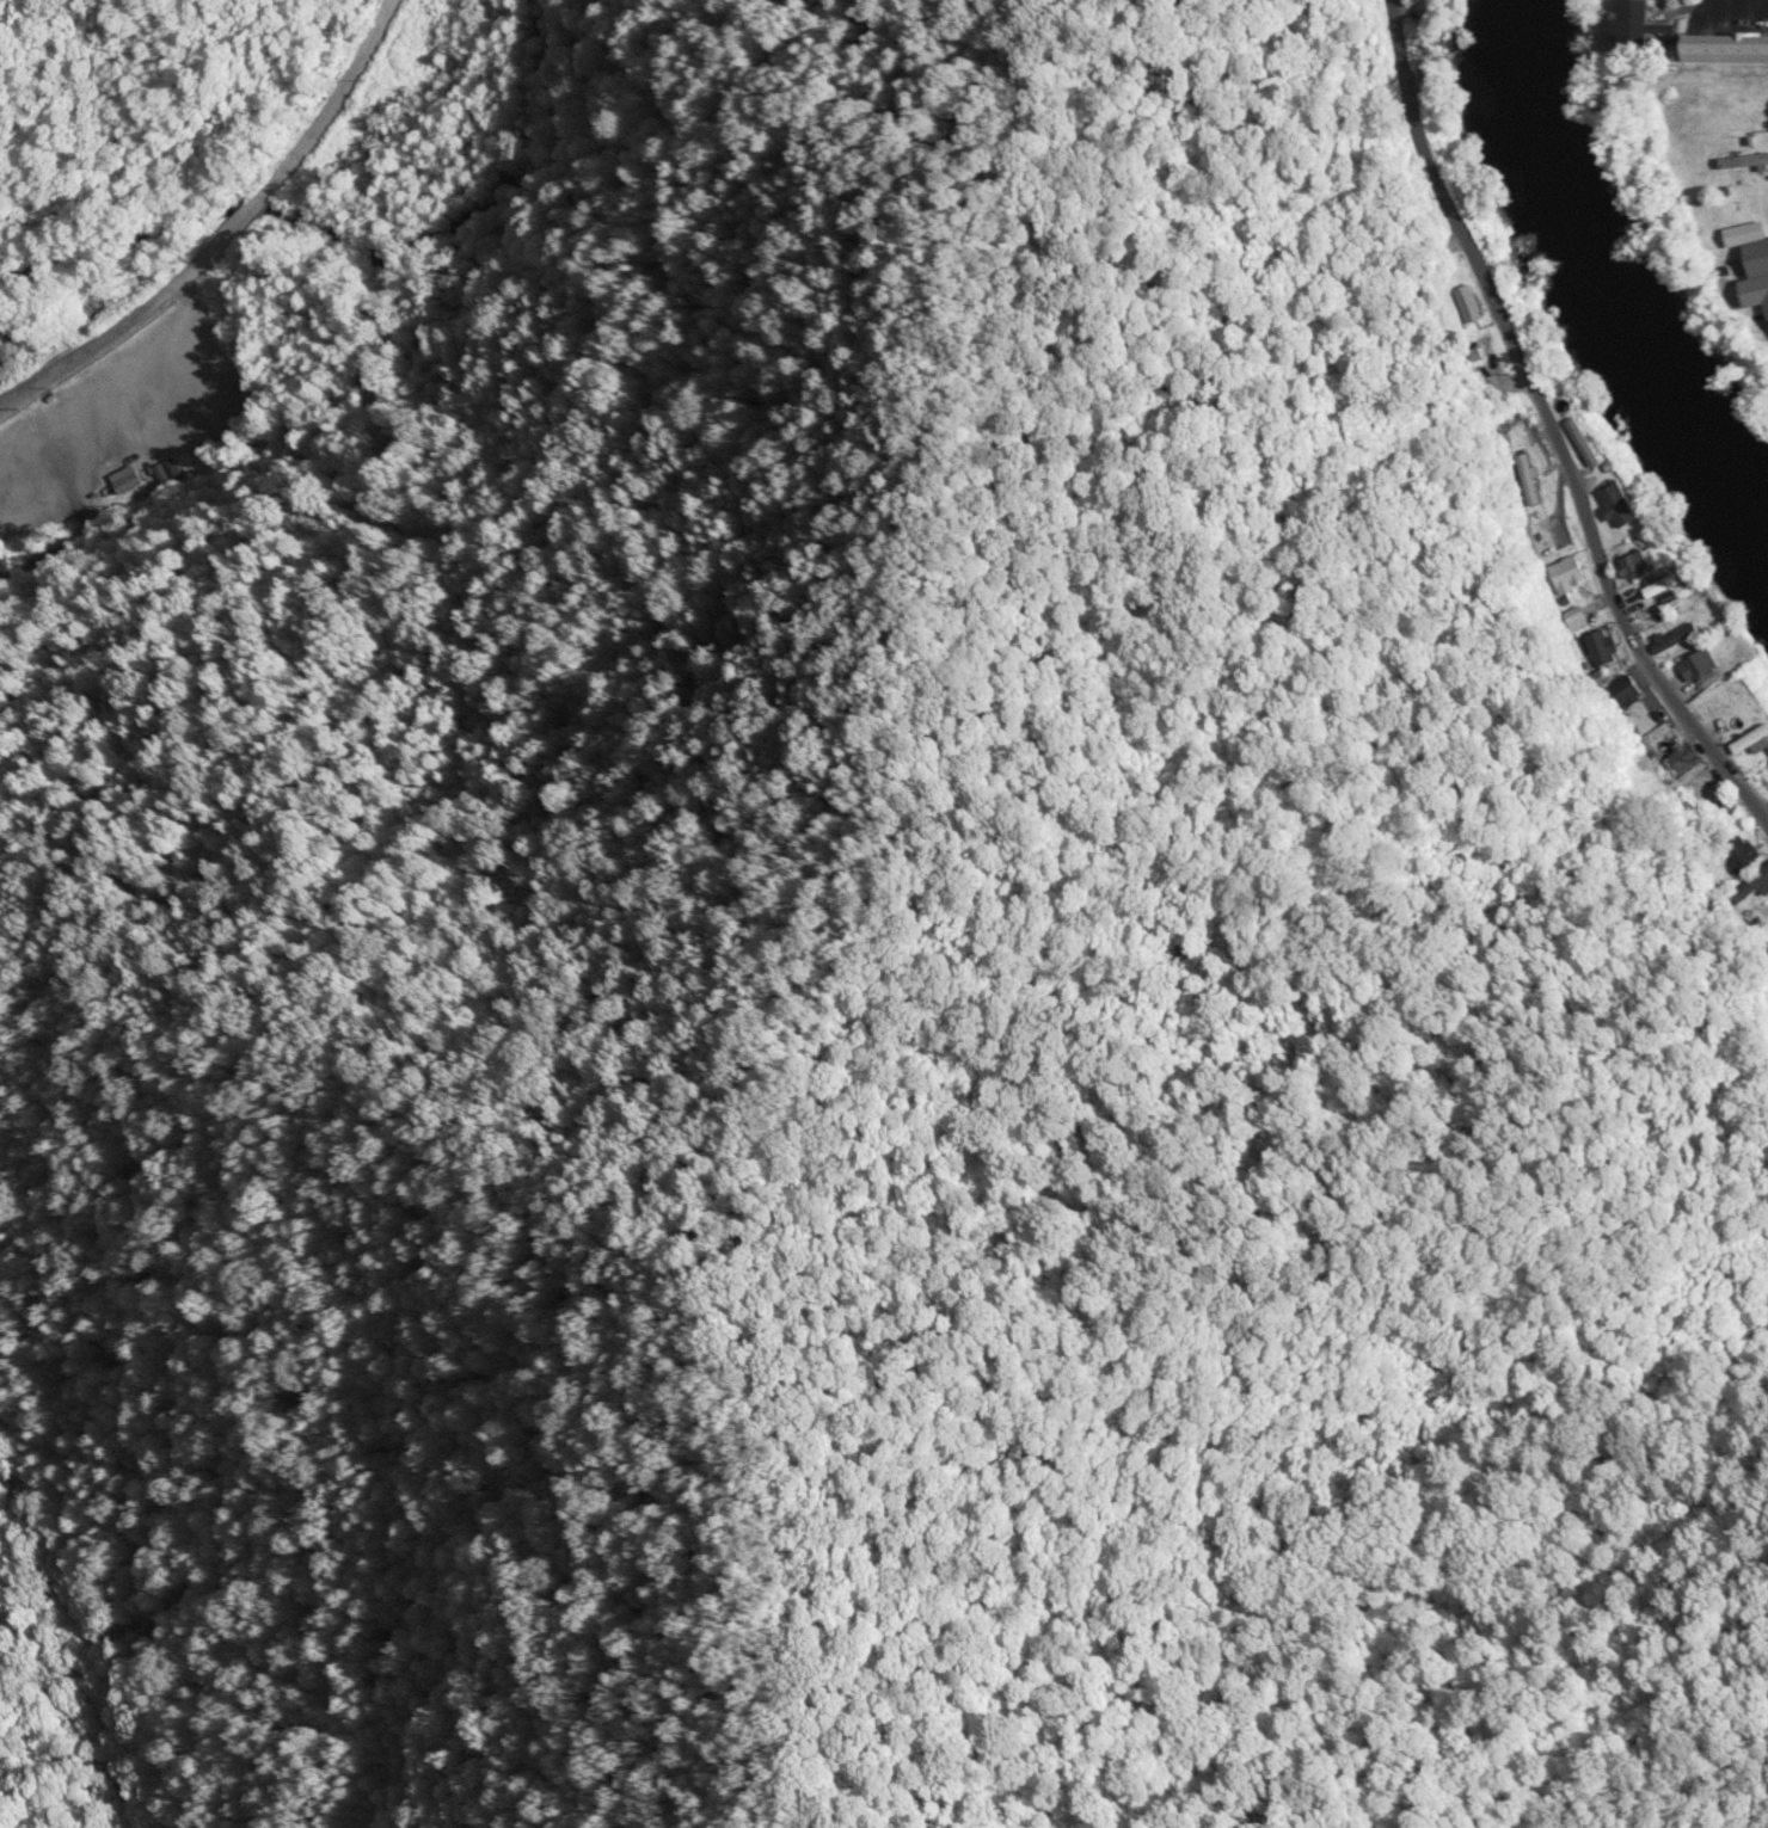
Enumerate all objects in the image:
road: (1732, 17)
building: (1686, 37)
building: (1744, 233)
road: (234, 235)
building: (1745, 277)
river: (1601, 281)
building: (1467, 302)
road: (1542, 427)
building: (1582, 439)
building: (1524, 467)
building: (1616, 503)
building: (1633, 564)
building: (1567, 572)
building: (1678, 605)
building: (1578, 620)
building: (1675, 635)
building: (1602, 645)
building: (1701, 666)
building: (1623, 691)
building: (1718, 701)
building: (1666, 745)
building: (1766, 774)
building: (1741, 851)
building: (1751, 885)
building: (1760, 911)

